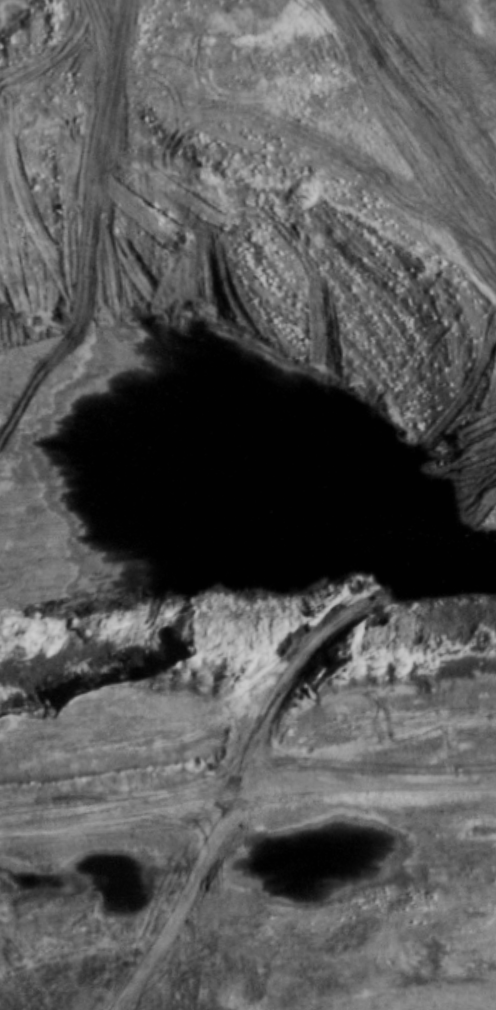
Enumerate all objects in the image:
quarry: (246, 235)

